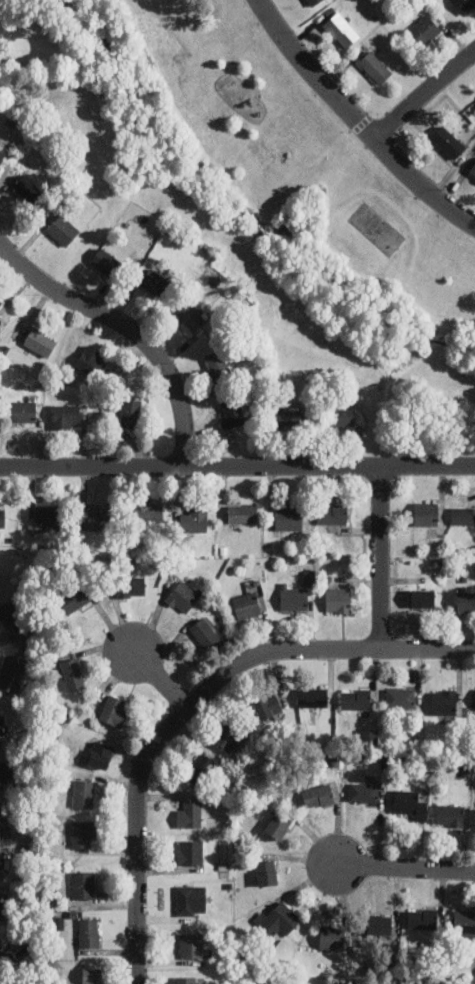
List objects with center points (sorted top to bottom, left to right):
building: (312, 2)
building: (463, 5)
building: (341, 29)
building: (425, 29)
building: (375, 66)
road: (422, 94)
building: (474, 100)
building: (474, 102)
road: (197, 113)
road: (357, 121)
building: (448, 141)
building: (2, 155)
building: (472, 170)
building: (28, 189)
park: (254, 192)
park: (376, 228)
building: (62, 229)
road: (246, 244)
building: (106, 260)
building: (156, 282)
building: (0, 302)
building: (192, 315)
road: (126, 330)
road: (334, 338)
building: (40, 341)
building: (92, 360)
building: (219, 364)
building: (23, 410)
building: (233, 410)
building: (130, 412)
building: (65, 415)
building: (287, 415)
building: (342, 416)
road: (237, 466)
building: (148, 512)
building: (242, 513)
building: (332, 513)
building: (426, 513)
building: (46, 515)
building: (463, 515)
building: (2, 517)
building: (99, 517)
building: (289, 518)
building: (194, 519)
road: (378, 557)
building: (131, 586)
building: (182, 597)
building: (293, 597)
building: (423, 597)
building: (74, 598)
building: (338, 599)
building: (465, 600)
building: (246, 605)
building: (9, 613)
building: (205, 633)
building: (12, 672)
building: (71, 674)
road: (160, 679)
building: (313, 697)
building: (400, 697)
building: (356, 698)
building: (444, 701)
road: (193, 702)
building: (267, 706)
building: (113, 711)
building: (2, 726)
building: (227, 737)
building: (371, 737)
building: (100, 754)
building: (201, 769)
building: (5, 771)
building: (364, 792)
building: (84, 793)
building: (185, 795)
building: (318, 795)
building: (408, 803)
building: (3, 814)
building: (190, 814)
building: (450, 814)
building: (279, 823)
building: (83, 832)
building: (190, 851)
building: (3, 866)
road: (404, 868)
building: (267, 872)
building: (83, 884)
building: (192, 900)
building: (1, 904)
building: (278, 918)
building: (422, 918)
building: (379, 923)
building: (464, 925)
building: (89, 931)
building: (332, 937)
building: (0, 945)
building: (192, 945)
building: (93, 975)
building: (186, 979)

